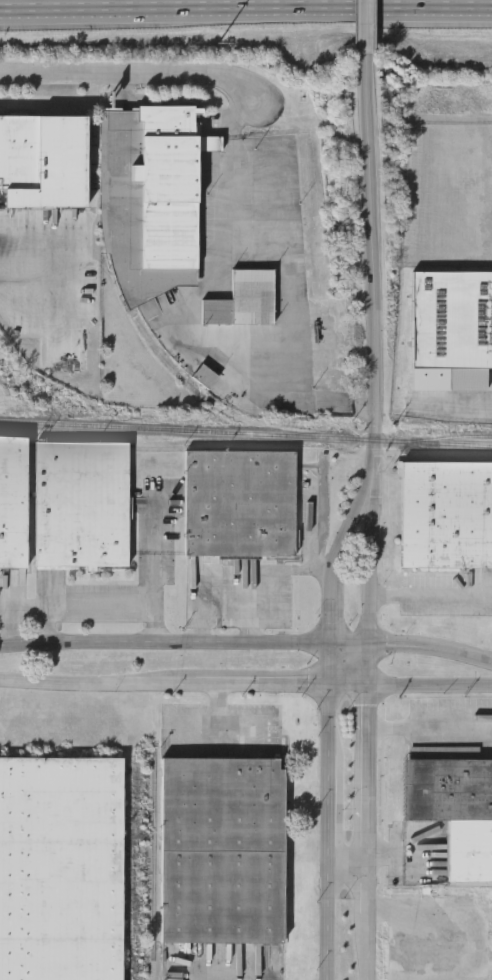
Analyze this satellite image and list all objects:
road: (246, 9)
road: (150, 23)
road: (366, 26)
road: (138, 67)
building: (43, 161)
building: (150, 198)
road: (32, 245)
road: (287, 256)
road: (373, 266)
building: (244, 301)
building: (452, 332)
road: (453, 411)
railway: (462, 432)
railway: (245, 434)
railway: (456, 460)
building: (13, 501)
building: (81, 504)
building: (240, 504)
building: (446, 516)
road: (373, 563)
road: (229, 570)
road: (432, 596)
road: (98, 602)
road: (253, 608)
road: (50, 625)
road: (7, 626)
road: (184, 647)
road: (431, 653)
road: (369, 666)
road: (429, 718)
road: (329, 725)
road: (370, 772)
building: (454, 810)
railway: (154, 844)
building: (222, 850)
road: (350, 859)
building: (61, 868)
railway: (127, 874)
road: (372, 885)
road: (373, 946)

